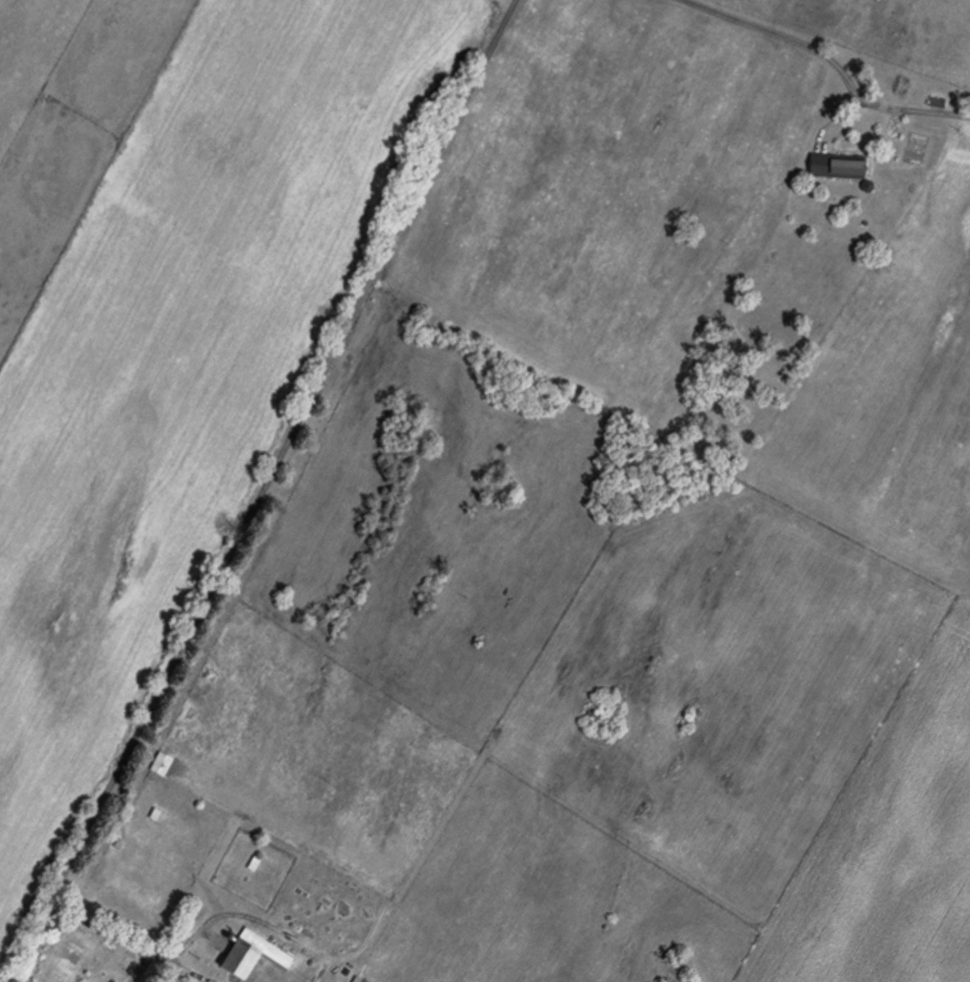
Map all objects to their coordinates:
road: (834, 60)
road: (265, 493)

